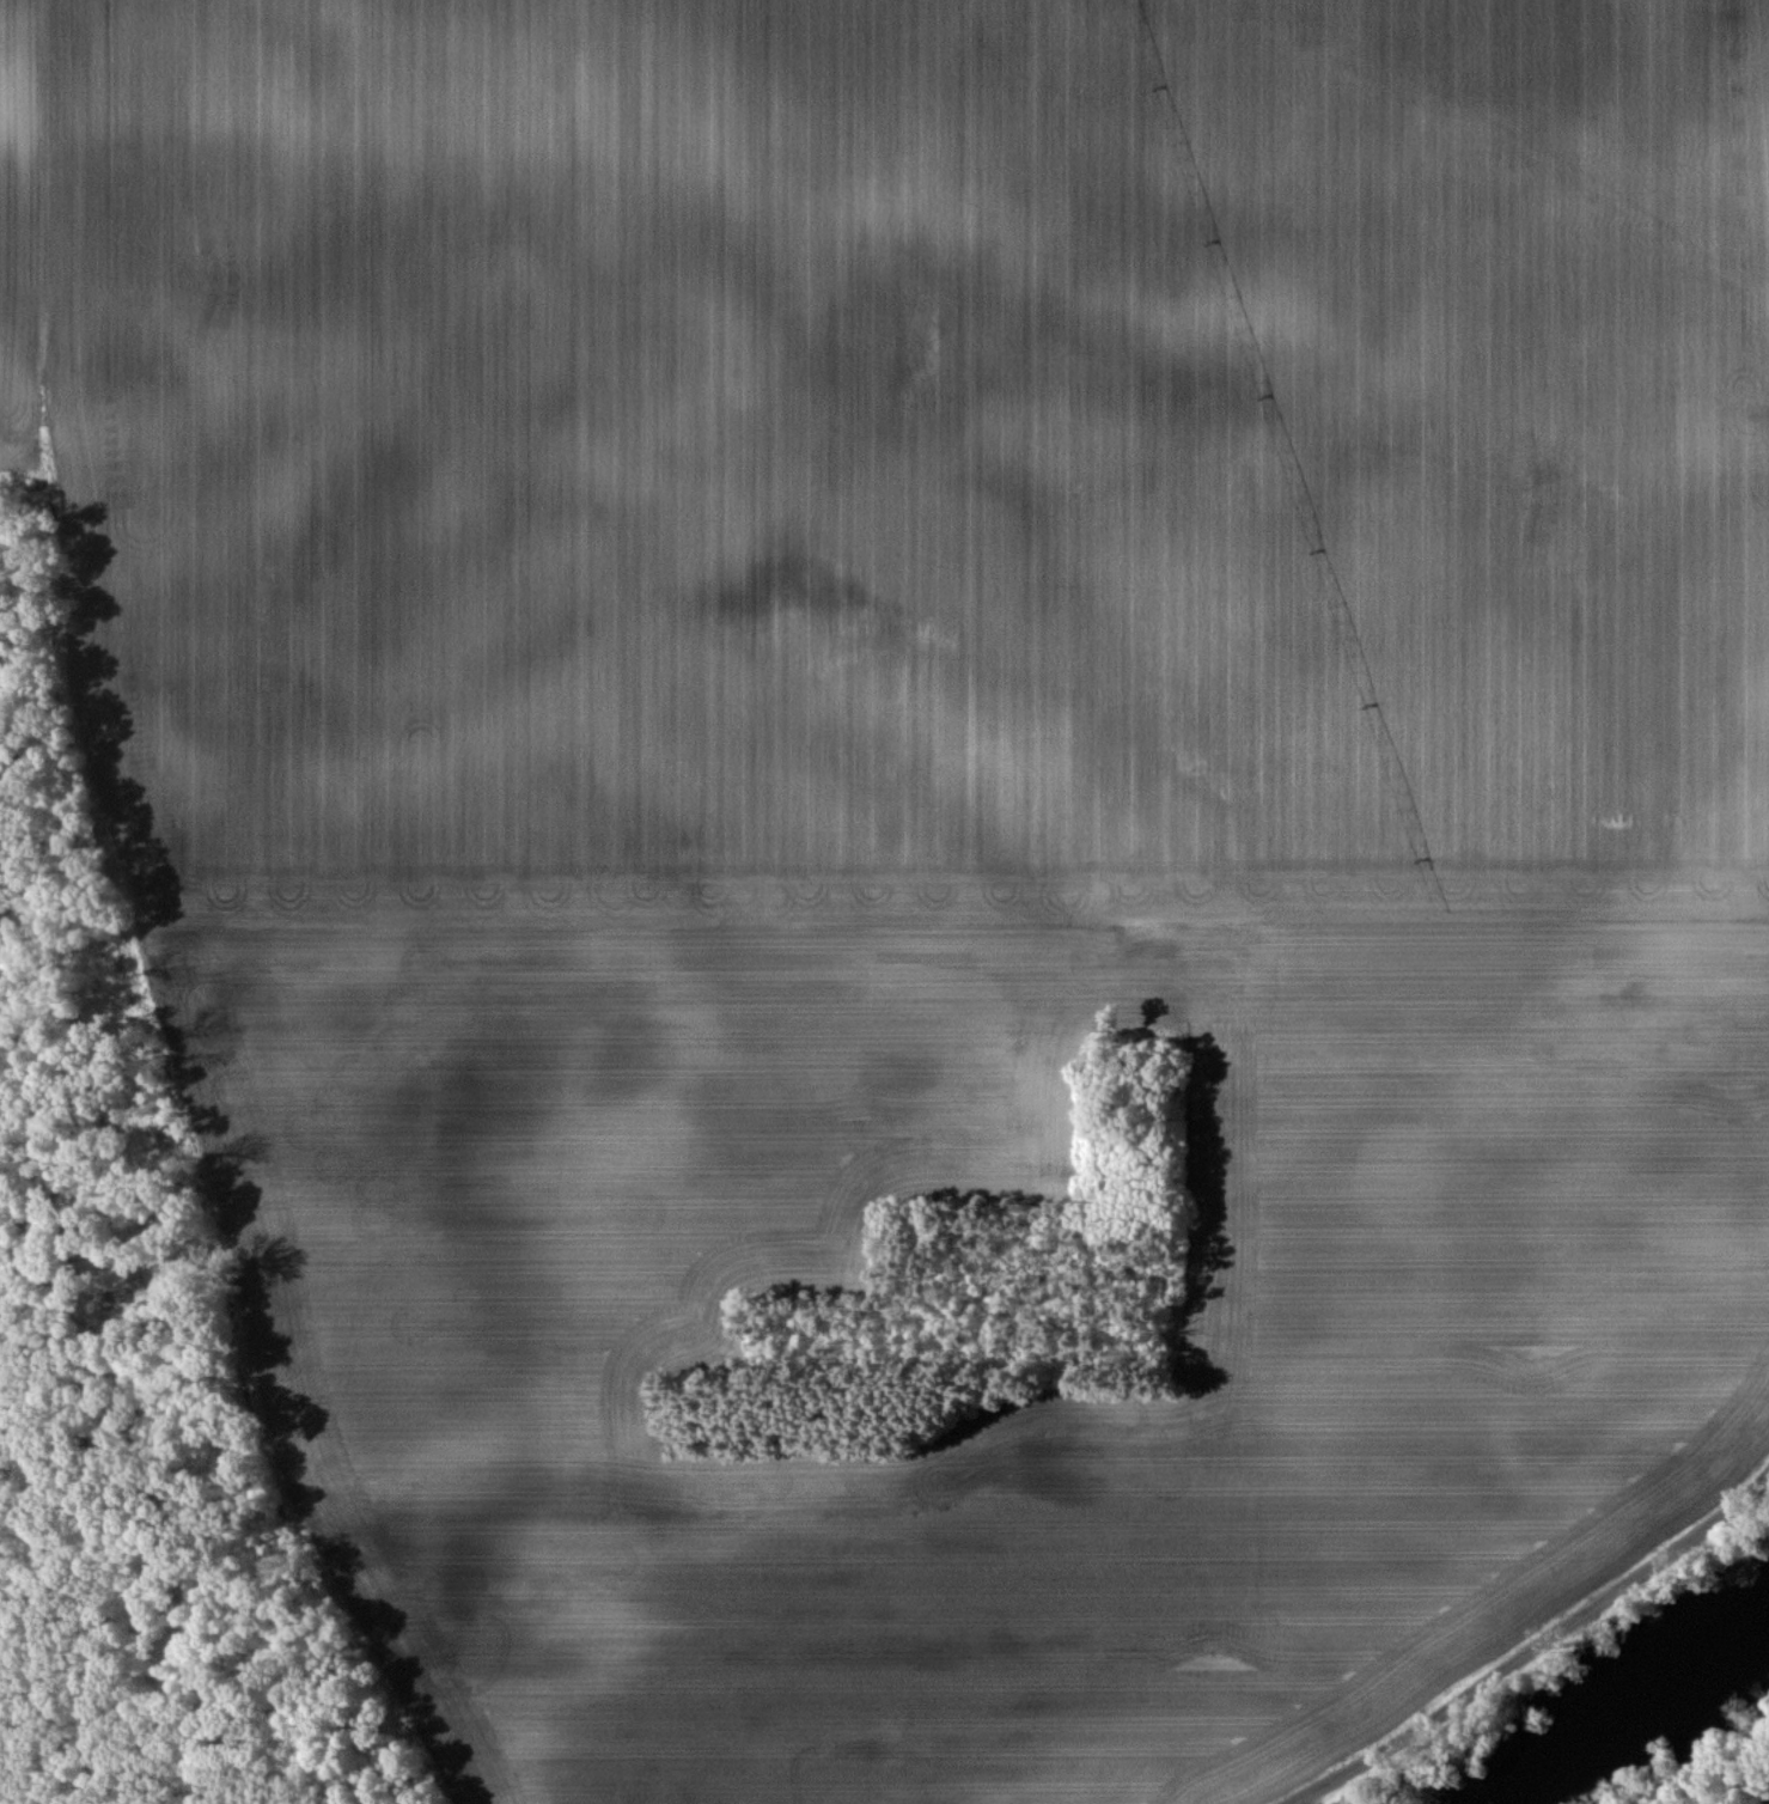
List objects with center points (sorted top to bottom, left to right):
road: (1526, 1646)
river: (1645, 1711)

